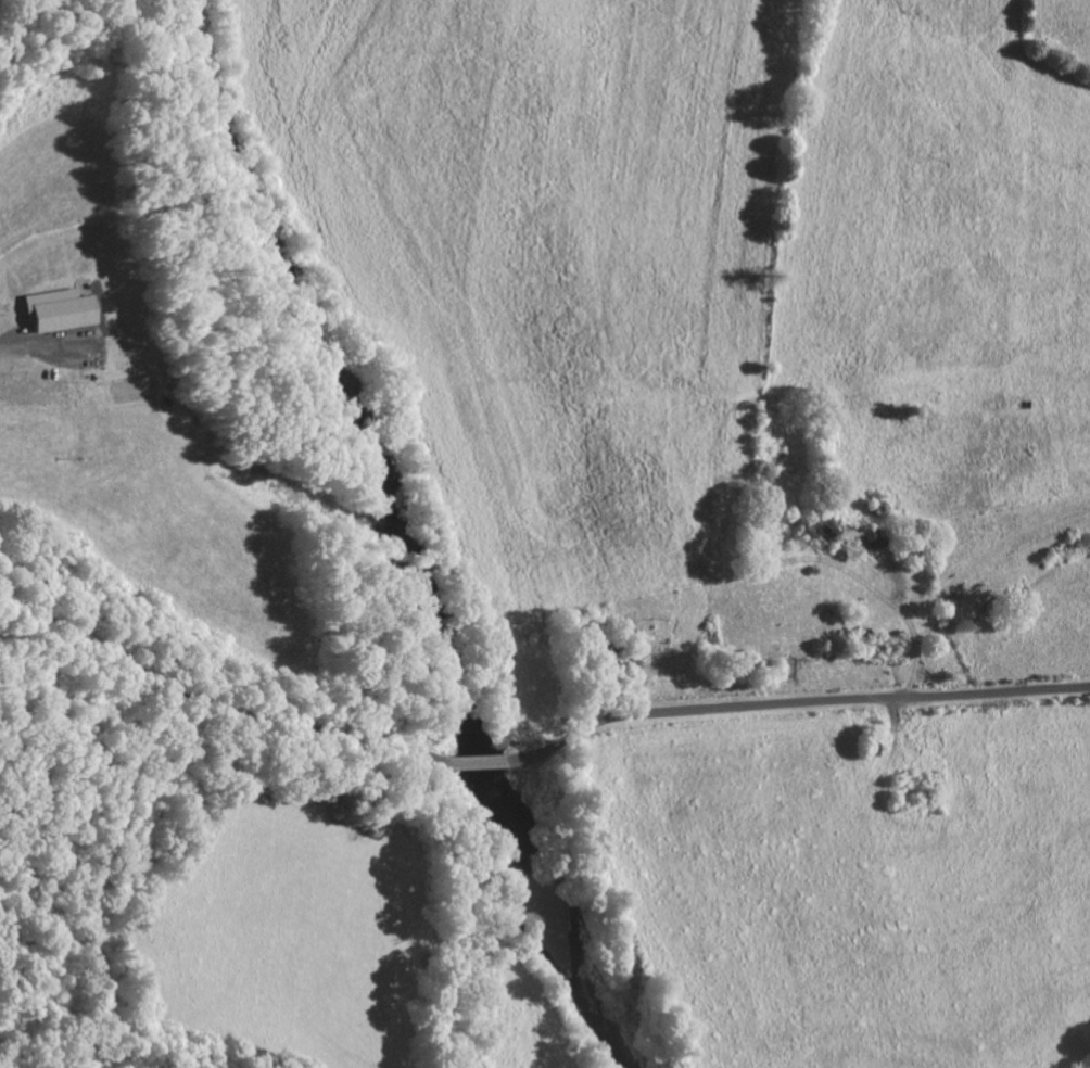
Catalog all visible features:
building: (62, 313)
road: (532, 766)

